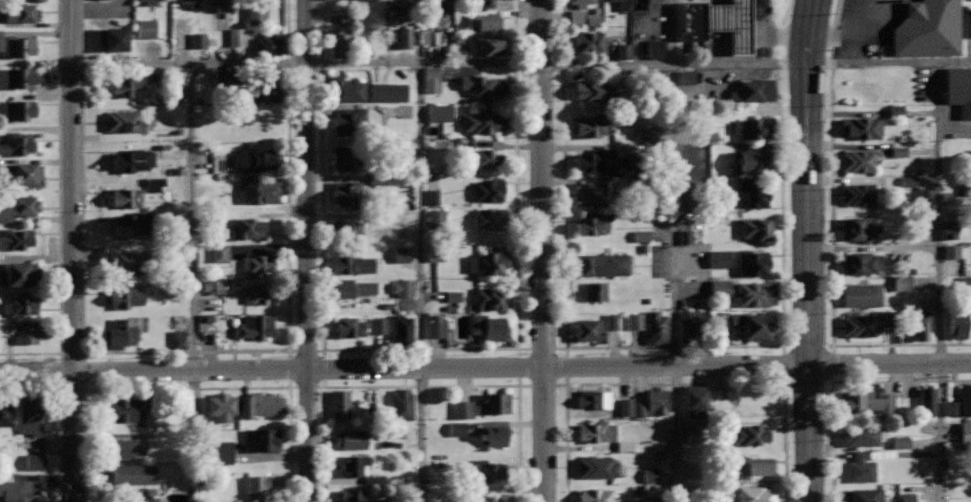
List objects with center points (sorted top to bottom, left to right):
building: (151, 2)
building: (583, 2)
building: (191, 3)
building: (400, 3)
building: (485, 3)
building: (645, 3)
building: (368, 4)
building: (625, 4)
building: (440, 5)
building: (222, 7)
building: (21, 13)
building: (256, 14)
building: (575, 17)
building: (693, 19)
building: (591, 20)
building: (484, 21)
building: (732, 22)
building: (968, 22)
building: (145, 28)
building: (930, 28)
building: (236, 37)
building: (113, 38)
building: (404, 38)
building: (423, 38)
building: (198, 40)
building: (588, 41)
building: (17, 44)
building: (341, 44)
building: (485, 45)
building: (267, 47)
building: (655, 48)
building: (623, 51)
road: (520, 63)
building: (17, 76)
building: (686, 76)
building: (223, 77)
building: (431, 80)
building: (125, 84)
building: (485, 85)
building: (262, 89)
building: (347, 89)
building: (960, 89)
building: (591, 90)
building: (752, 90)
building: (387, 92)
building: (17, 109)
building: (895, 110)
building: (439, 113)
building: (125, 121)
building: (482, 121)
building: (349, 122)
building: (591, 124)
building: (752, 126)
building: (862, 127)
building: (646, 133)
building: (708, 137)
building: (17, 143)
building: (898, 152)
building: (479, 156)
building: (345, 157)
building: (254, 158)
building: (132, 159)
building: (595, 160)
building: (858, 160)
building: (751, 161)
building: (24, 173)
building: (908, 181)
building: (155, 184)
building: (489, 189)
building: (259, 190)
building: (591, 193)
building: (858, 193)
building: (348, 194)
building: (758, 194)
building: (127, 197)
building: (432, 197)
road: (58, 206)
building: (19, 207)
road: (191, 217)
building: (492, 218)
building: (435, 219)
building: (132, 223)
building: (593, 224)
building: (248, 227)
building: (859, 227)
building: (755, 228)
building: (346, 229)
building: (949, 230)
building: (641, 235)
building: (684, 237)
building: (15, 238)
road: (829, 242)
road: (305, 250)
road: (808, 250)
road: (70, 251)
road: (541, 251)
road: (674, 251)
building: (951, 251)
building: (219, 253)
building: (435, 253)
building: (400, 255)
building: (718, 258)
building: (129, 262)
building: (488, 262)
building: (752, 262)
building: (863, 262)
building: (353, 263)
building: (257, 264)
building: (602, 264)
building: (21, 274)
road: (419, 282)
road: (941, 282)
building: (901, 283)
building: (966, 285)
building: (212, 287)
building: (351, 287)
building: (401, 288)
building: (719, 288)
building: (596, 291)
building: (260, 293)
building: (754, 293)
building: (860, 294)
building: (123, 295)
building: (452, 296)
building: (492, 298)
building: (21, 303)
building: (722, 320)
building: (634, 321)
building: (897, 323)
building: (755, 324)
building: (958, 324)
building: (258, 325)
building: (379, 325)
building: (860, 325)
building: (920, 325)
building: (349, 326)
building: (488, 327)
building: (656, 327)
building: (693, 327)
building: (595, 328)
building: (435, 329)
building: (28, 331)
building: (403, 331)
building: (119, 334)
building: (178, 340)
road: (673, 346)
road: (418, 349)
road: (185, 351)
road: (485, 367)
road: (840, 381)
road: (675, 383)
road: (420, 386)
road: (188, 387)
road: (28, 390)
building: (595, 398)
building: (964, 398)
building: (867, 401)
building: (927, 402)
building: (261, 403)
building: (340, 403)
building: (495, 403)
building: (653, 403)
building: (697, 403)
building: (402, 404)
building: (222, 405)
building: (625, 407)
building: (121, 409)
building: (462, 409)
building: (6, 413)
building: (31, 414)
building: (147, 418)
building: (646, 424)
building: (456, 429)
building: (596, 431)
building: (748, 434)
building: (861, 434)
building: (965, 434)
building: (495, 435)
building: (692, 435)
building: (351, 438)
building: (264, 439)
building: (900, 442)
building: (624, 446)
building: (128, 448)
building: (223, 453)
building: (34, 462)
building: (354, 464)
building: (866, 464)
building: (750, 465)
building: (597, 466)
building: (489, 470)
building: (132, 474)
building: (650, 475)
building: (257, 484)
building: (16, 490)
building: (650, 490)
building: (723, 494)
building: (756, 494)
building: (353, 495)
building: (596, 495)
building: (863, 495)
building: (907, 497)
building: (487, 498)
building: (149, 499)
building: (651, 501)

